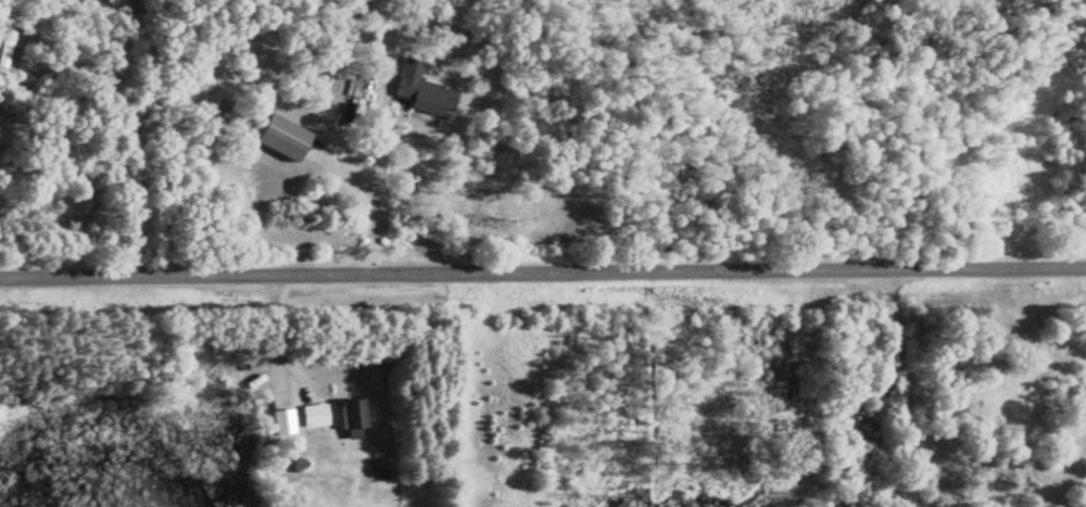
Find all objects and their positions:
building: (4, 51)
building: (418, 91)
road: (1008, 118)
building: (273, 138)
road: (378, 176)
road: (543, 271)
road: (215, 385)
road: (899, 389)
building: (310, 416)
building: (346, 419)
building: (278, 423)

